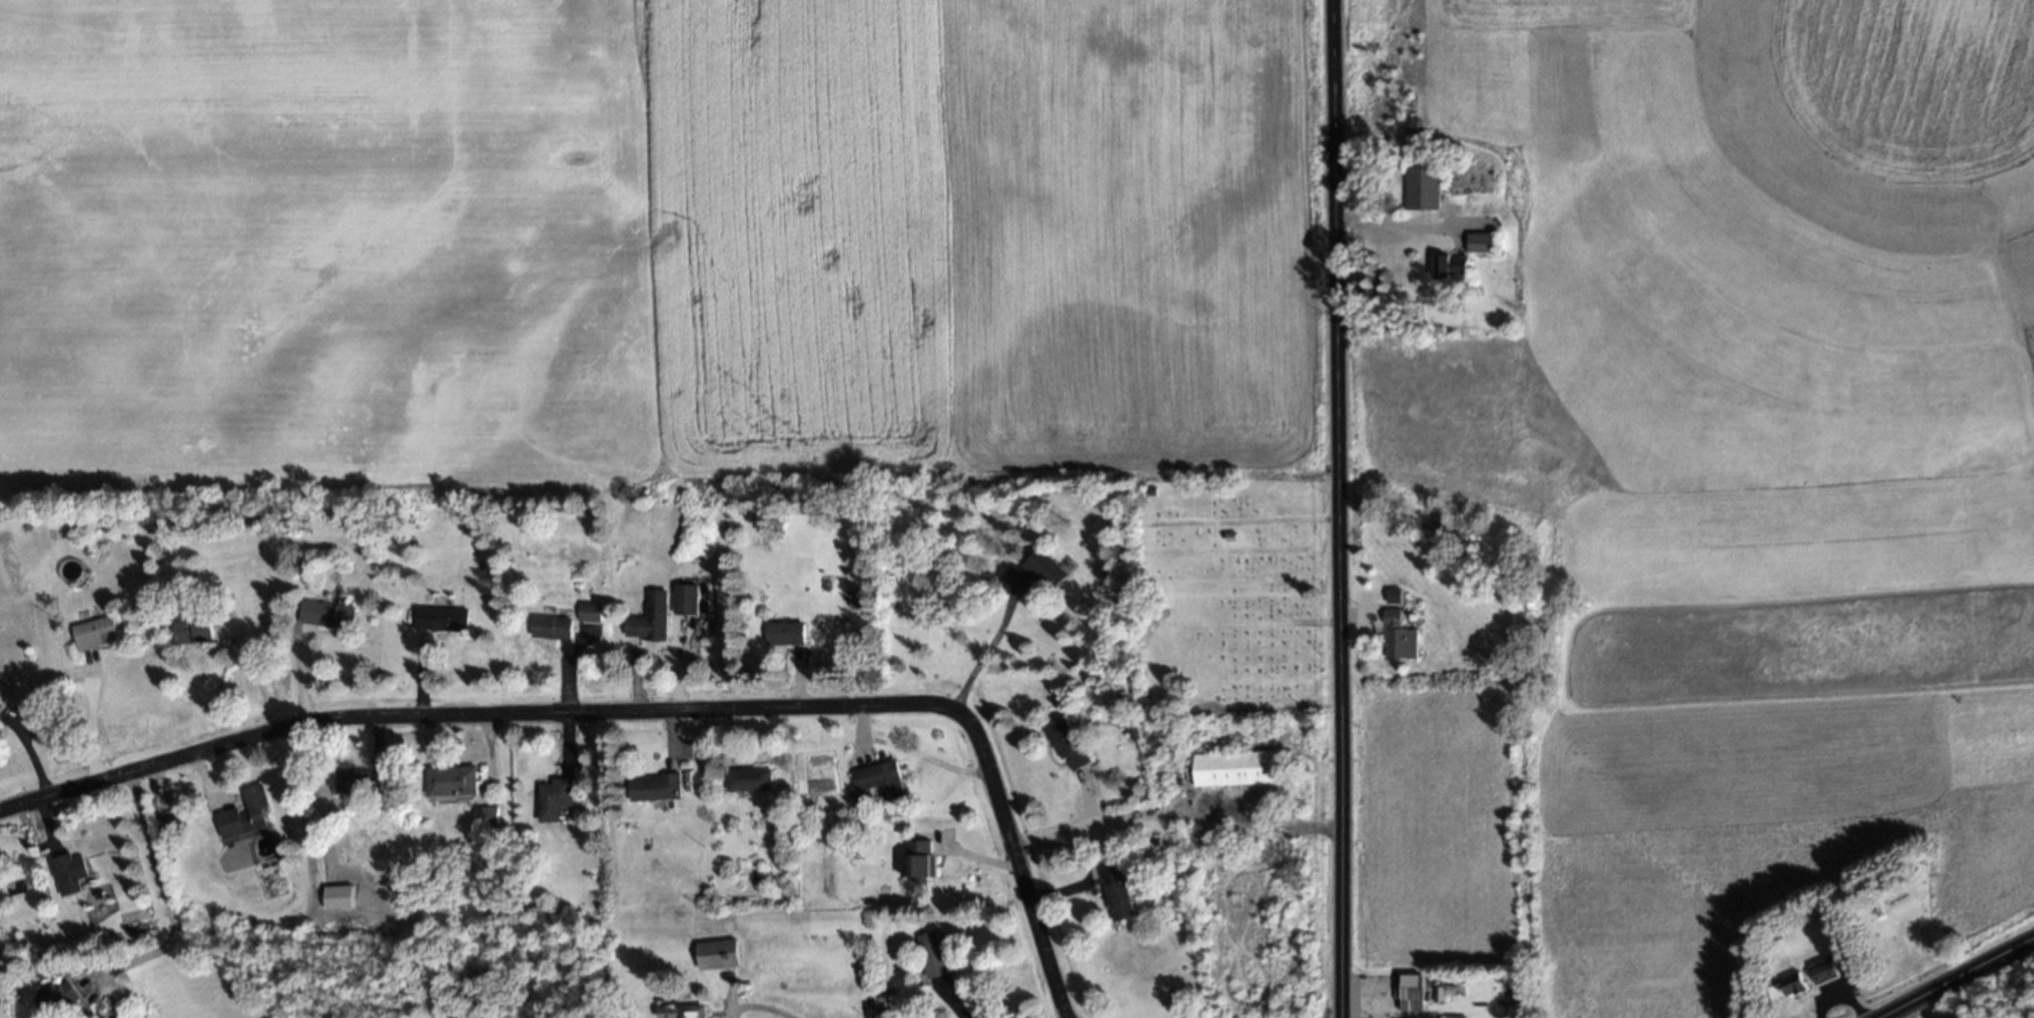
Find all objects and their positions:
building: (1471, 179)
building: (1421, 186)
building: (1479, 242)
building: (1450, 266)
road: (1338, 509)
building: (1044, 568)
building: (1390, 594)
building: (682, 599)
building: (586, 611)
building: (325, 614)
building: (438, 618)
building: (645, 618)
building: (190, 627)
building: (549, 627)
building: (95, 632)
building: (782, 633)
building: (1395, 636)
road: (989, 645)
building: (0, 706)
road: (459, 714)
building: (1063, 742)
building: (1233, 768)
building: (745, 779)
building: (875, 779)
building: (357, 780)
building: (450, 780)
building: (651, 786)
building: (551, 797)
building: (245, 813)
building: (482, 815)
road: (1007, 849)
building: (915, 862)
building: (69, 873)
road: (161, 886)
building: (1113, 892)
building: (715, 954)
building: (930, 954)
building: (1822, 970)
road: (1965, 982)
building: (1784, 986)
building: (1410, 992)
building: (55, 997)
road: (754, 1005)
building: (679, 1012)
building: (1450, 1017)

